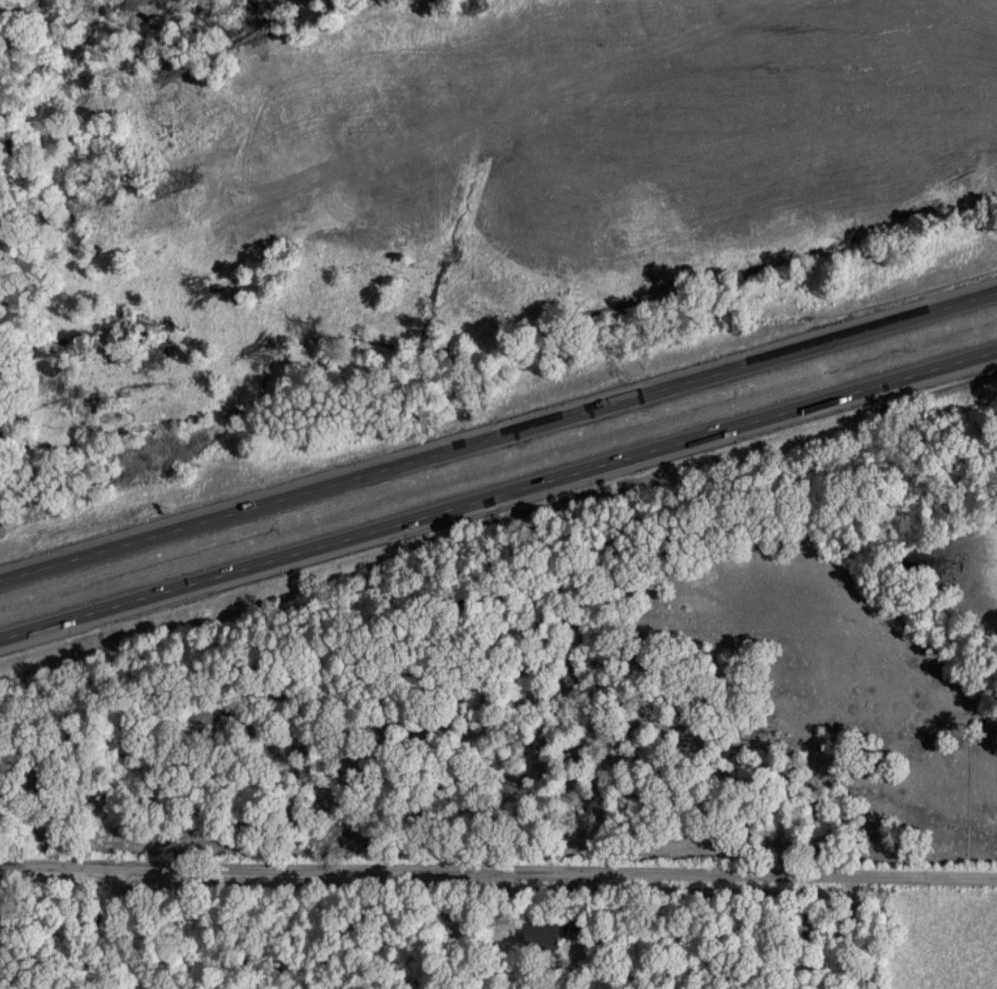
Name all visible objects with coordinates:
road: (498, 440)
road: (498, 496)
road: (498, 864)
road: (116, 924)
building: (541, 933)

